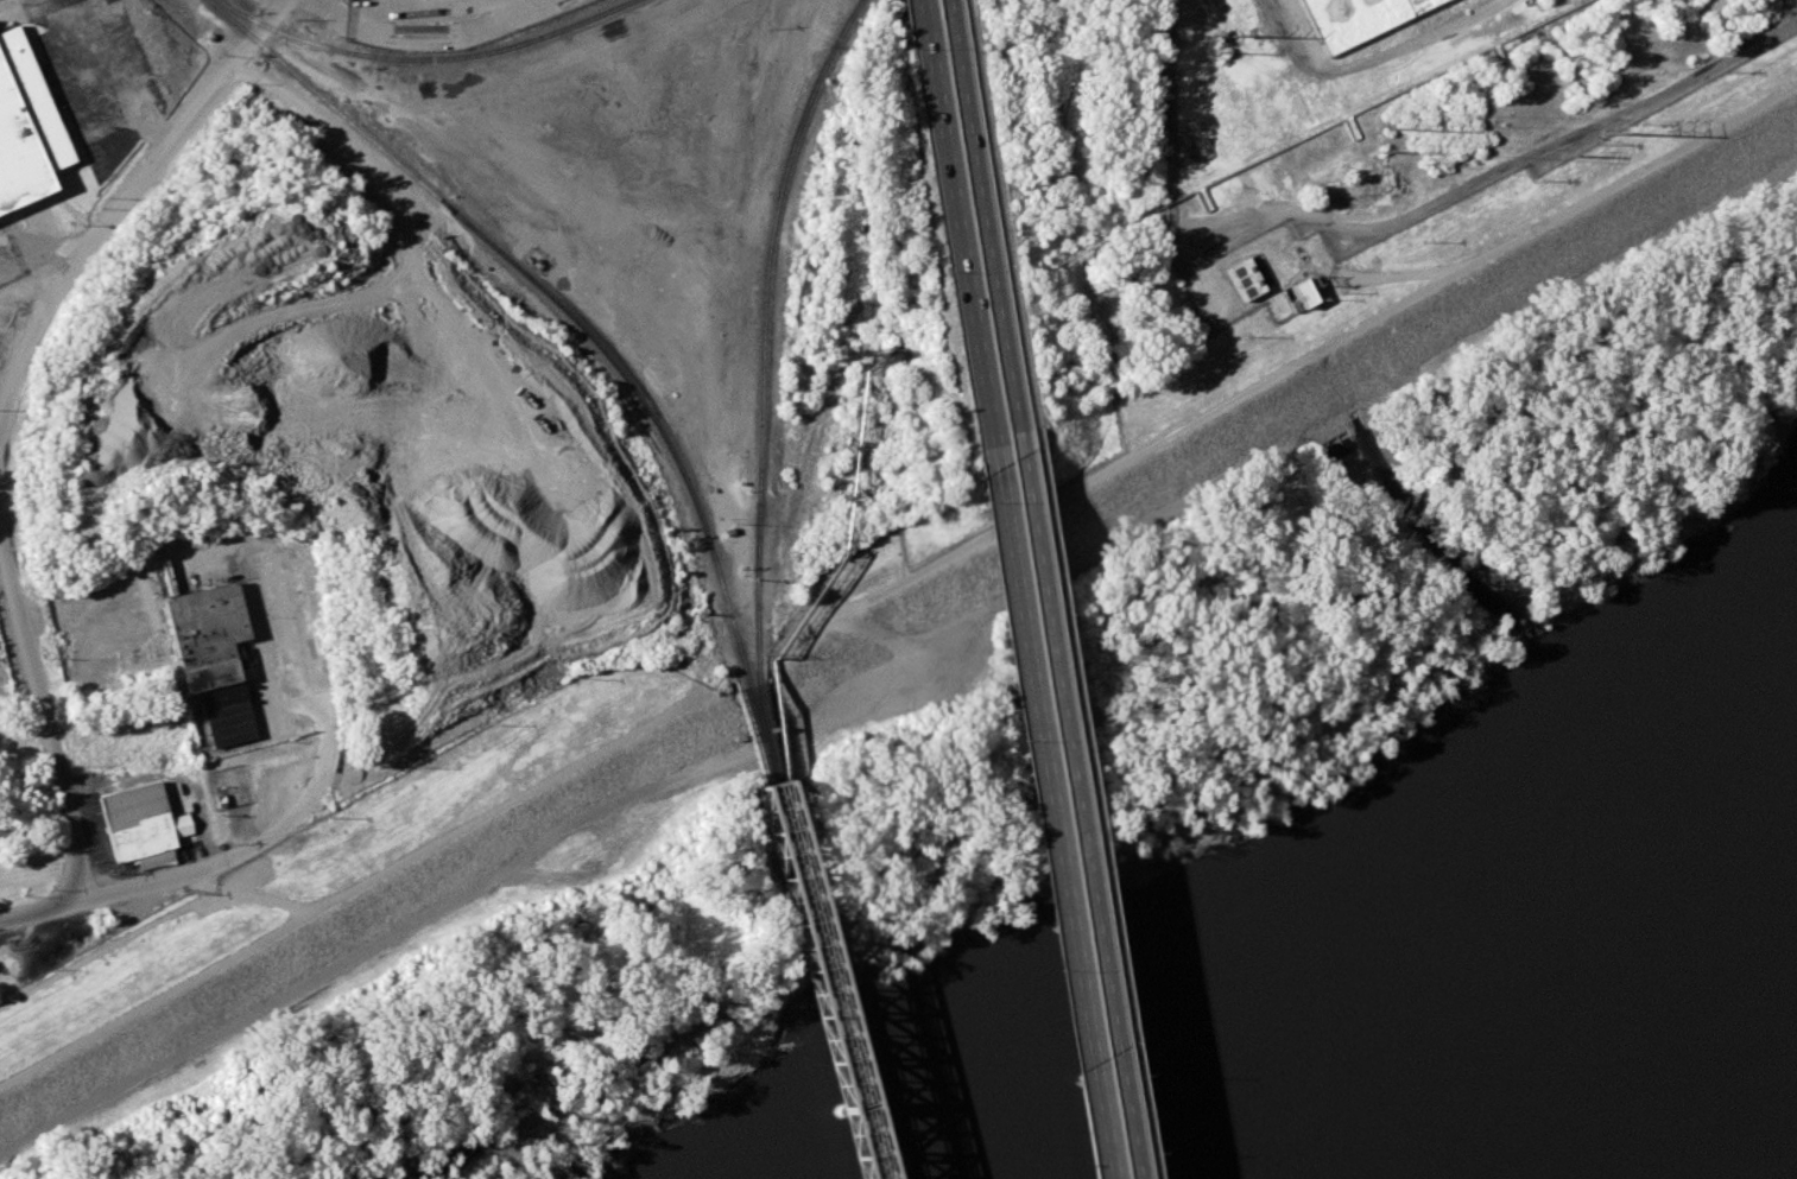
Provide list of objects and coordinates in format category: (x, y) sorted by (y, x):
road: (964, 4)
road: (64, 14)
building: (1354, 18)
road: (417, 28)
street lamp: (903, 45)
railway: (424, 61)
building: (25, 127)
street lamp: (986, 145)
road: (143, 184)
road: (980, 215)
road: (951, 223)
road: (999, 227)
road: (46, 248)
road: (6, 255)
street lamp: (937, 272)
building: (1244, 278)
road: (30, 280)
building: (1302, 292)
railway: (546, 293)
railway: (763, 334)
road: (1340, 338)
street lamp: (1020, 379)
street lamp: (974, 505)
street lamp: (1055, 616)
road: (30, 636)
road: (319, 652)
building: (213, 657)
railway: (764, 733)
street lamp: (1007, 740)
road: (1074, 804)
road: (1042, 812)
road: (1089, 812)
building: (143, 824)
street lamp: (1088, 845)
road: (189, 871)
road: (349, 888)
road: (249, 895)
railway: (811, 932)
street lamp: (1042, 972)
river: (1557, 1051)
street lamp: (1124, 1069)

